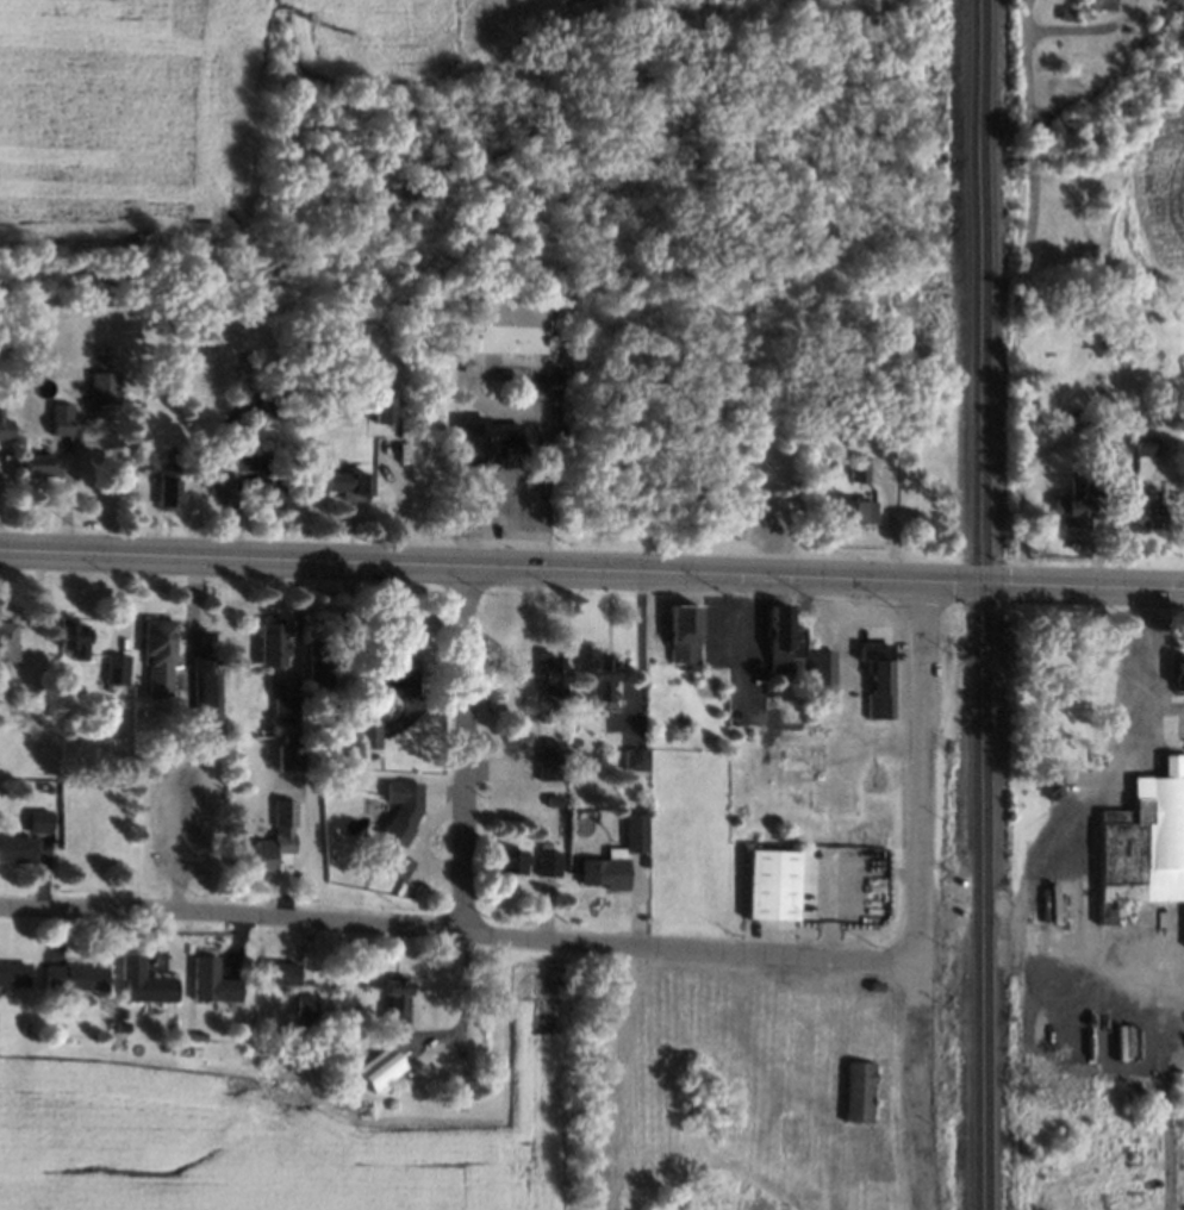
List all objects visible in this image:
building: (1096, 4)
building: (1066, 14)
road: (1024, 21)
road: (1080, 30)
road: (1017, 312)
building: (503, 328)
building: (99, 386)
building: (264, 387)
building: (136, 405)
building: (385, 410)
building: (58, 417)
building: (1068, 418)
building: (4, 425)
building: (478, 436)
building: (393, 447)
building: (1140, 447)
building: (141, 453)
building: (39, 462)
building: (853, 464)
building: (253, 481)
building: (345, 484)
building: (1093, 484)
road: (542, 485)
building: (164, 486)
road: (480, 501)
building: (1138, 507)
building: (853, 513)
building: (1071, 514)
road: (592, 566)
railway: (974, 604)
railway: (985, 605)
building: (683, 634)
road: (743, 637)
building: (71, 638)
building: (784, 640)
road: (1140, 640)
building: (158, 644)
building: (273, 644)
building: (6, 645)
building: (116, 669)
building: (395, 672)
building: (318, 673)
building: (712, 676)
building: (1178, 676)
building: (555, 678)
building: (821, 678)
building: (604, 680)
building: (878, 680)
building: (207, 704)
building: (46, 706)
building: (291, 706)
building: (348, 710)
road: (1158, 713)
building: (368, 734)
road: (465, 743)
building: (291, 757)
building: (373, 759)
building: (549, 762)
building: (789, 762)
building: (637, 763)
road: (920, 771)
building: (785, 774)
building: (1052, 786)
building: (835, 796)
building: (554, 802)
building: (285, 811)
building: (37, 816)
building: (400, 825)
building: (635, 829)
building: (1146, 843)
building: (15, 850)
building: (260, 854)
building: (381, 861)
building: (510, 861)
building: (550, 866)
building: (399, 868)
building: (604, 874)
road: (1036, 879)
building: (772, 887)
road: (459, 925)
building: (12, 975)
building: (282, 977)
building: (73, 978)
building: (143, 985)
building: (208, 985)
building: (874, 988)
building: (394, 1000)
building: (305, 1004)
building: (305, 1024)
building: (27, 1025)
building: (121, 1028)
building: (197, 1036)
building: (379, 1069)
building: (858, 1093)

